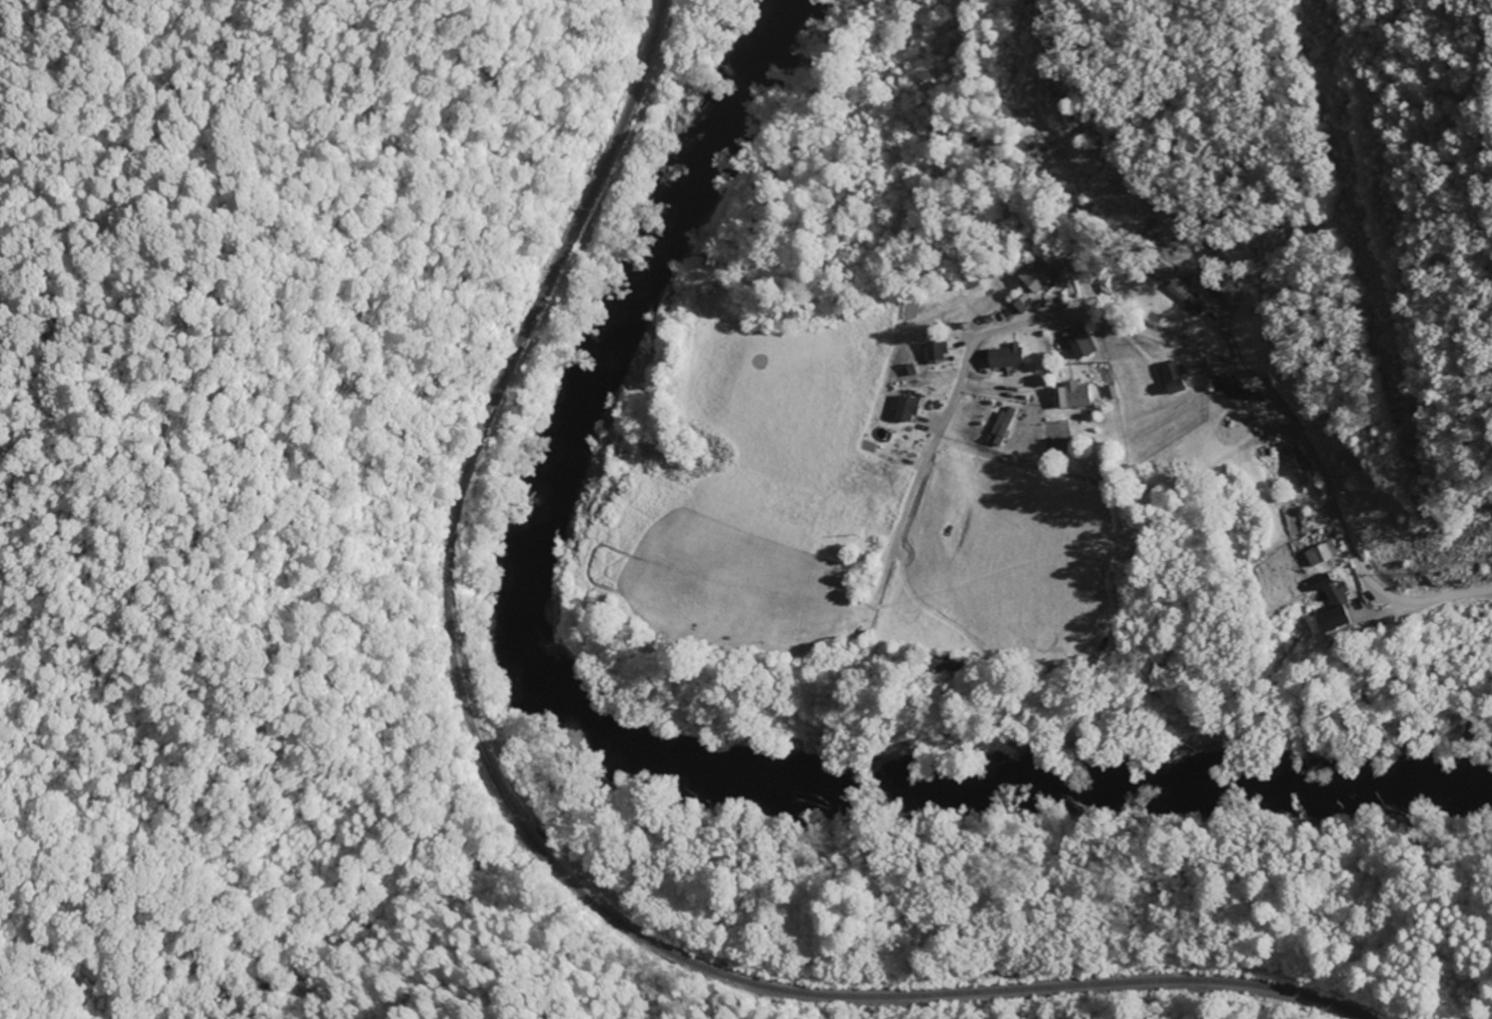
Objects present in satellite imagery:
building: (1163, 274)
building: (1039, 279)
building: (1187, 300)
building: (1025, 305)
road: (1137, 333)
building: (1083, 347)
building: (937, 352)
building: (1007, 358)
building: (1232, 389)
building: (1071, 397)
road: (955, 402)
building: (908, 410)
building: (1005, 426)
building: (1295, 462)
building: (1322, 555)
building: (1336, 594)
road: (1432, 603)
building: (1334, 621)
building: (944, 665)
river: (639, 757)
railway: (525, 833)

